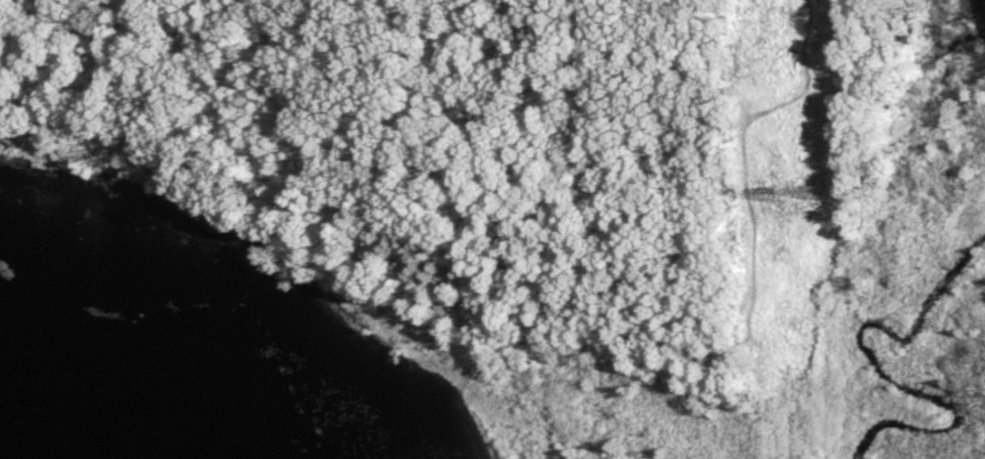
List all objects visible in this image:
power tower: (821, 192)
power tower: (779, 193)

